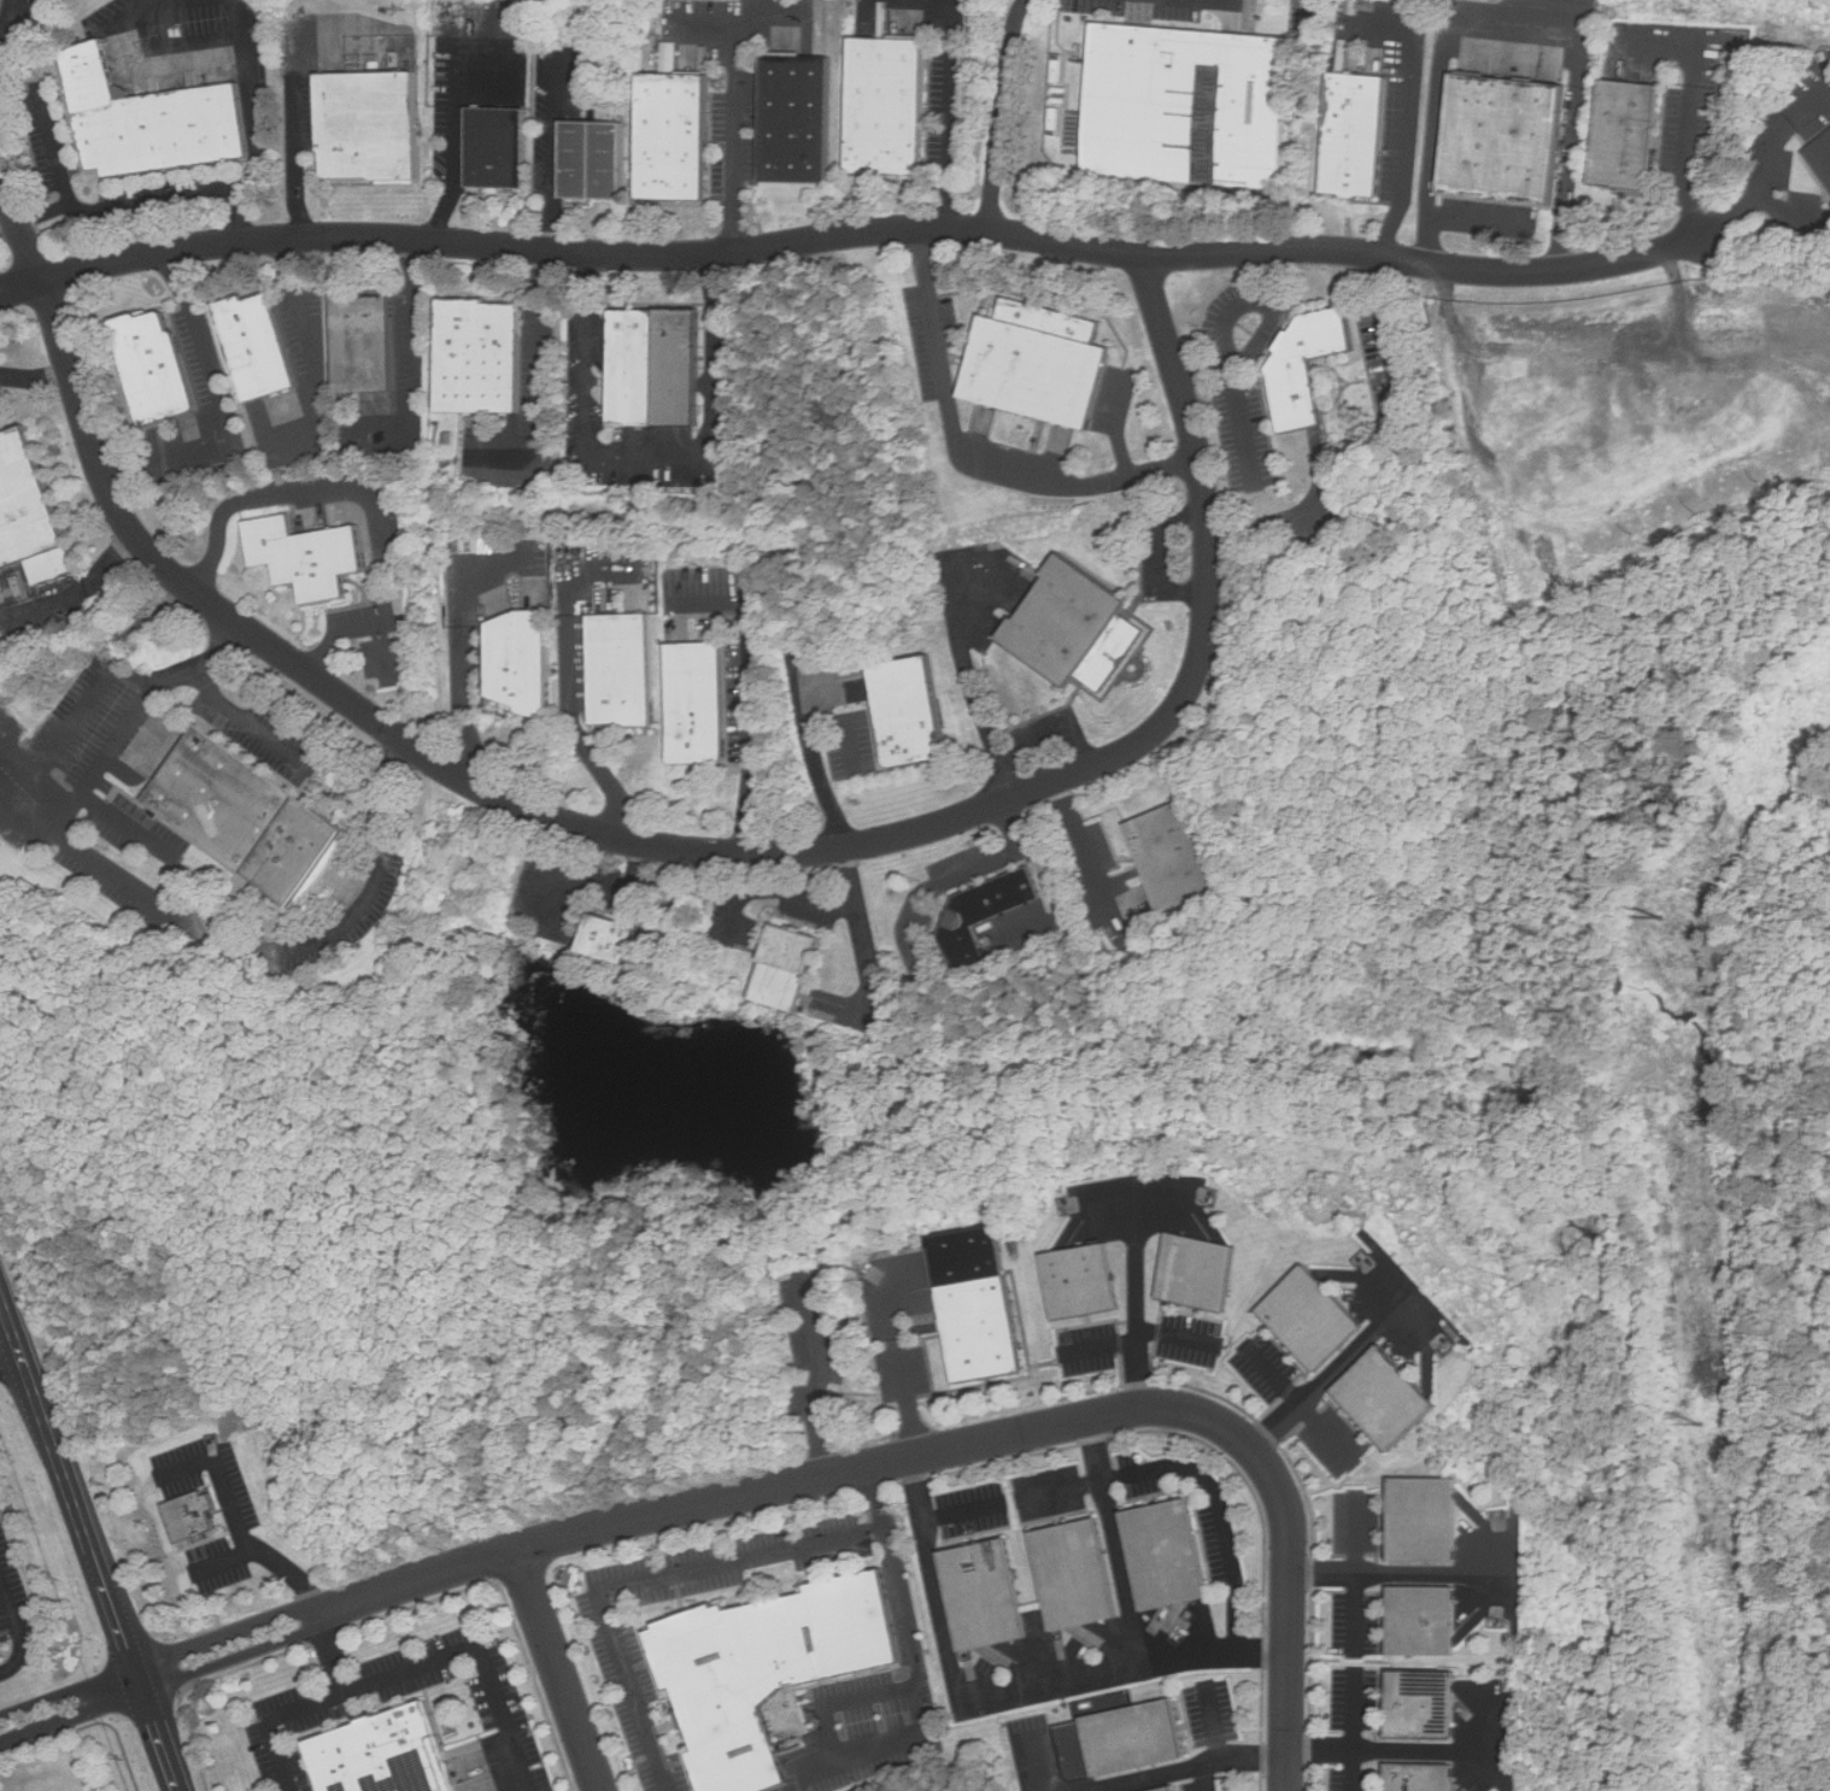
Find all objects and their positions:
building: (0, 2)
road: (7, 19)
road: (1513, 28)
building: (669, 57)
building: (882, 105)
road: (40, 106)
building: (1186, 106)
road: (1690, 110)
road: (999, 113)
road: (954, 114)
building: (156, 117)
building: (793, 117)
road: (265, 118)
building: (364, 124)
road: (299, 129)
road: (737, 131)
building: (1351, 131)
building: (1625, 131)
building: (671, 136)
building: (1500, 136)
road: (1408, 137)
building: (493, 143)
building: (1823, 153)
road: (556, 154)
building: (597, 160)
road: (1767, 166)
road: (454, 175)
road: (154, 200)
road: (852, 233)
road: (1233, 312)
road: (304, 334)
road: (1257, 339)
road: (413, 341)
building: (357, 342)
building: (251, 345)
road: (1390, 347)
building: (477, 354)
building: (1033, 362)
building: (148, 363)
building: (1303, 364)
building: (652, 365)
road: (35, 376)
road: (540, 377)
road: (218, 407)
road: (1240, 418)
road: (650, 454)
road: (968, 454)
road: (251, 500)
building: (31, 510)
road: (1271, 529)
building: (304, 554)
road: (76, 589)
building: (1071, 623)
road: (360, 627)
road: (462, 653)
building: (516, 660)
building: (618, 670)
road: (970, 686)
building: (694, 700)
building: (905, 711)
road: (75, 716)
road: (573, 718)
road: (245, 720)
road: (750, 729)
road: (816, 768)
building: (257, 814)
road: (128, 827)
road: (671, 846)
building: (1166, 856)
road: (958, 875)
road: (592, 885)
road: (157, 895)
building: (980, 915)
road: (858, 929)
building: (603, 936)
building: (781, 965)
building: (1206, 1272)
building: (1085, 1281)
road: (1138, 1297)
building: (979, 1303)
building: (1316, 1319)
road: (1179, 1338)
road: (1099, 1346)
road: (11, 1360)
road: (1335, 1370)
road: (907, 1372)
road: (815, 1388)
building: (1390, 1398)
road: (1301, 1404)
road: (934, 1451)
road: (1058, 1488)
road: (963, 1509)
road: (1219, 1510)
building: (194, 1516)
building: (1423, 1520)
road: (240, 1528)
road: (89, 1542)
road: (1114, 1543)
building: (1162, 1556)
road: (223, 1562)
road: (1356, 1574)
building: (1069, 1575)
road: (1391, 1575)
road: (640, 1582)
building: (980, 1596)
building: (1421, 1621)
road: (18, 1628)
road: (257, 1637)
road: (330, 1655)
building: (762, 1668)
road: (917, 1670)
road: (407, 1672)
road: (999, 1697)
road: (846, 1702)
building: (1420, 1705)
road: (1216, 1719)
road: (1355, 1728)
building: (1132, 1740)
road: (1412, 1750)
building: (379, 1755)
road: (1037, 1764)
road: (1186, 1769)
building: (1418, 1778)
building: (1168, 1789)
building: (1177, 1789)

